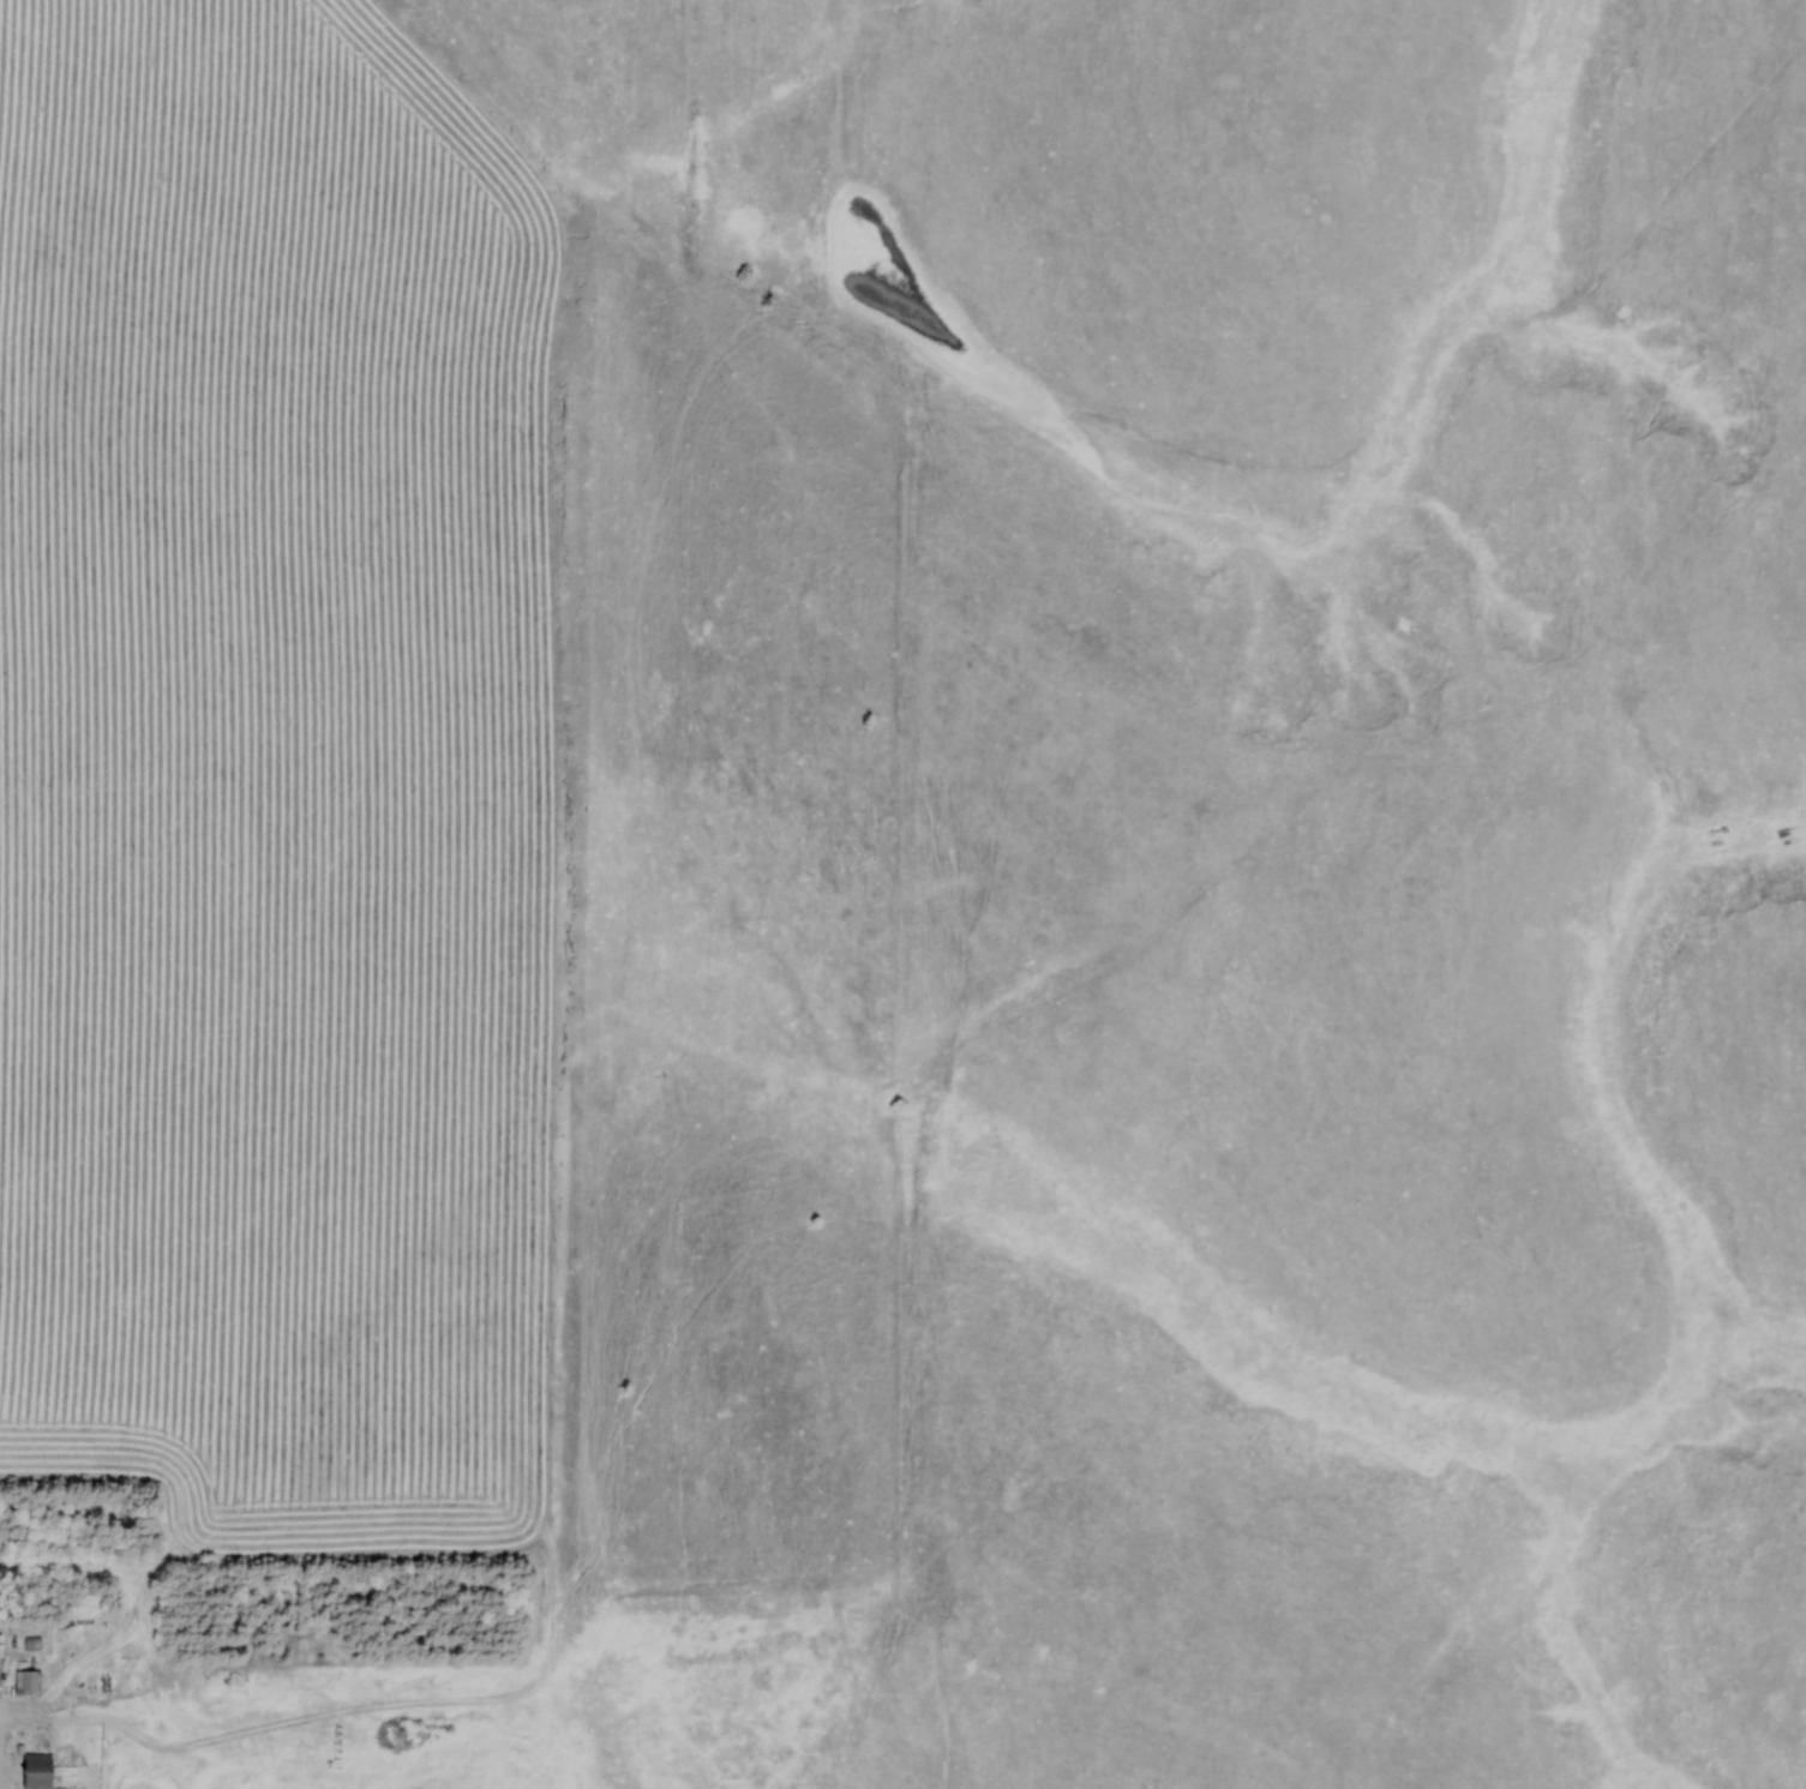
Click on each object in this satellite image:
building: (43, 1772)

